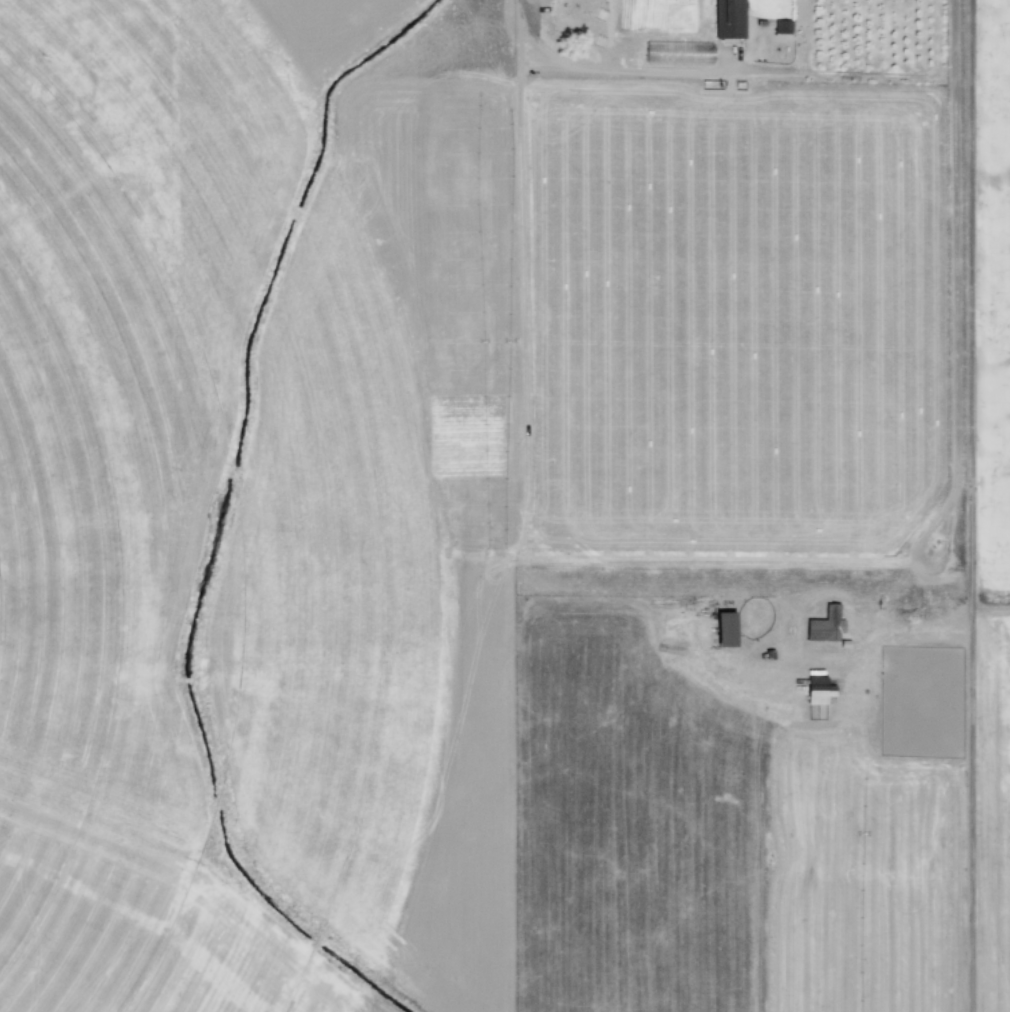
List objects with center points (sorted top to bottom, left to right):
building: (729, 19)
road: (965, 337)
building: (825, 625)
building: (725, 627)
building: (818, 687)

